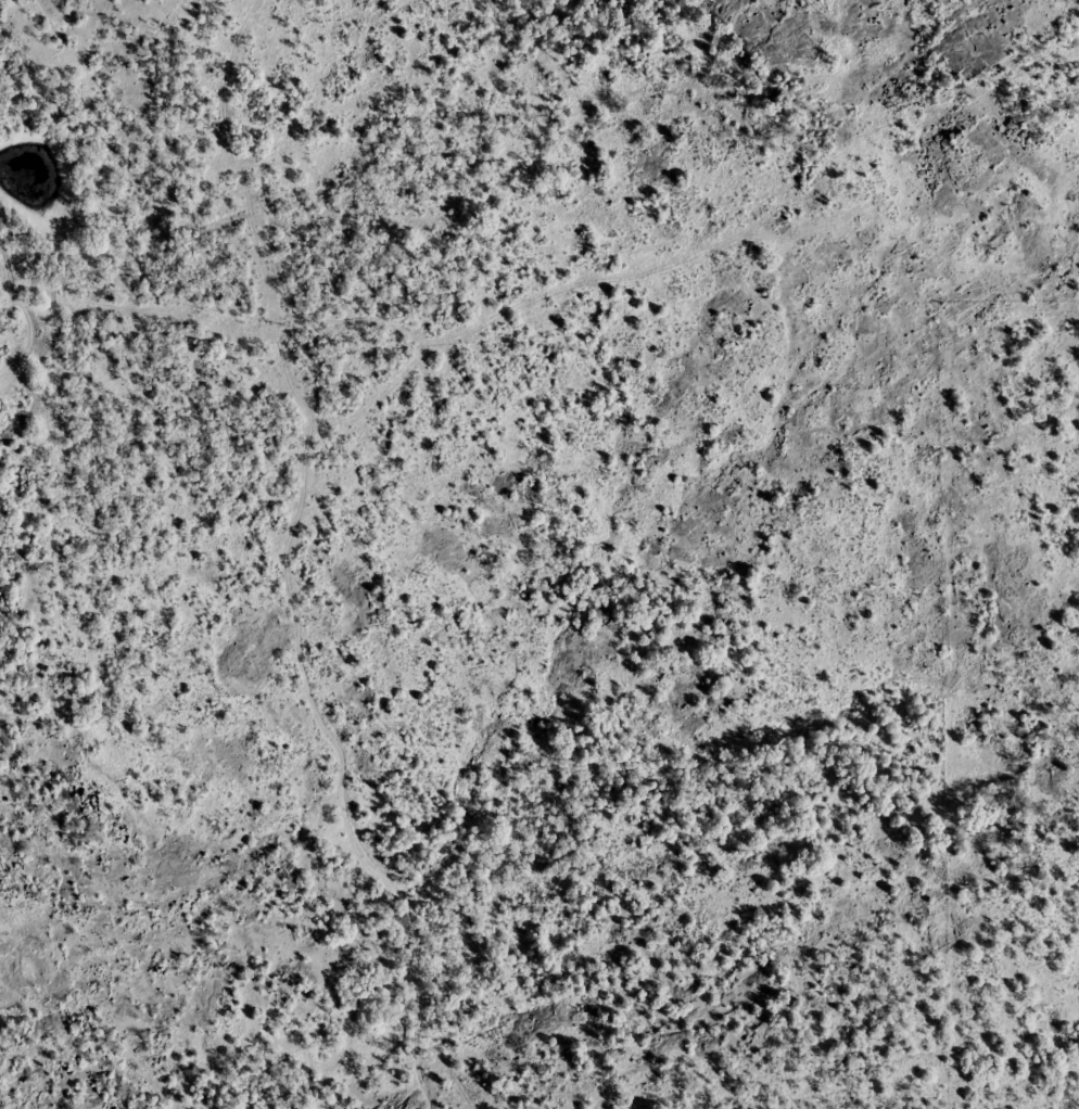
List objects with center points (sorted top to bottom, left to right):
road: (247, 161)
road: (196, 317)
road: (383, 409)

